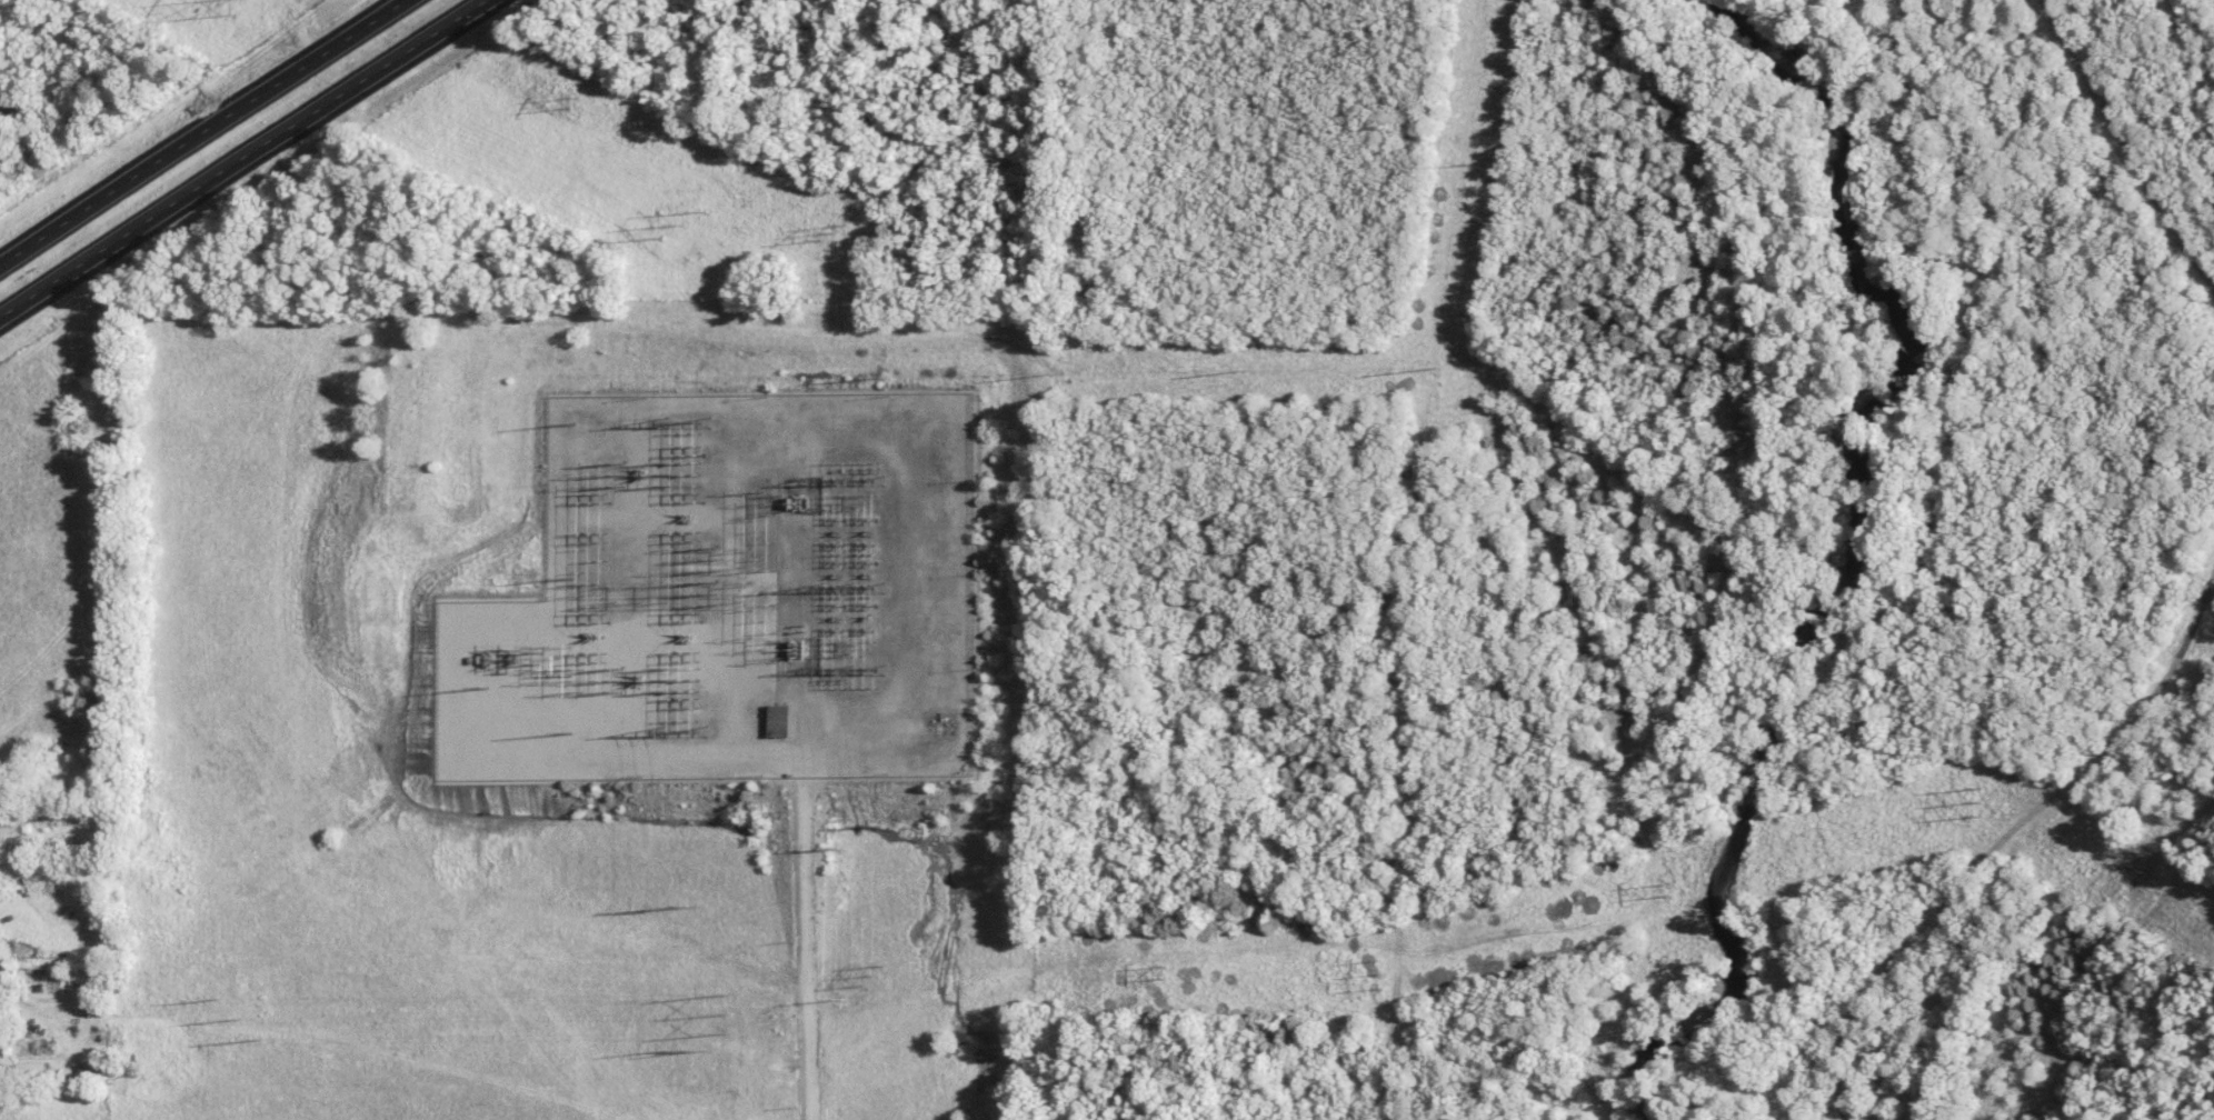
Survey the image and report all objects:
power tower: (237, 6)
power tower: (574, 104)
road: (201, 131)
road: (2128, 140)
road: (245, 160)
power tower: (680, 224)
power tower: (834, 237)
river: (1866, 547)
power substation: (758, 584)
building: (781, 720)
power tower: (1979, 802)
power tower: (866, 826)
road: (1999, 836)
power tower: (836, 846)
power tower: (1662, 891)
power tower: (684, 901)
road: (807, 948)
power tower: (1163, 973)
power tower: (1379, 973)
power tower: (870, 977)
power tower: (245, 1020)

